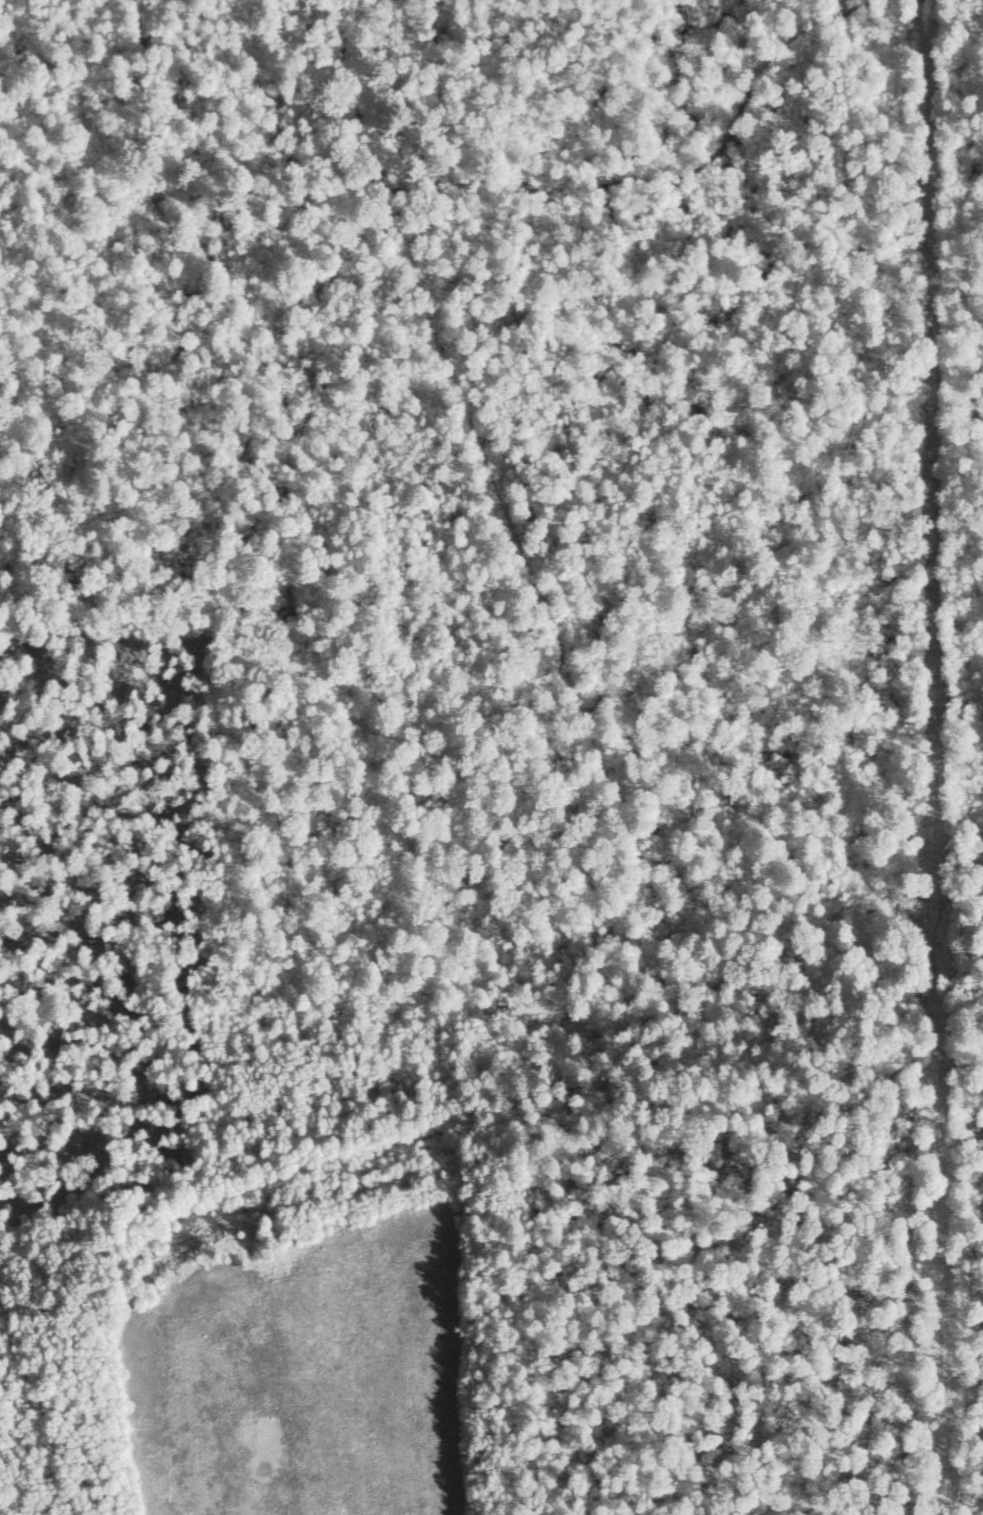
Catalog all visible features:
road: (634, 163)
road: (487, 467)
road: (818, 986)

